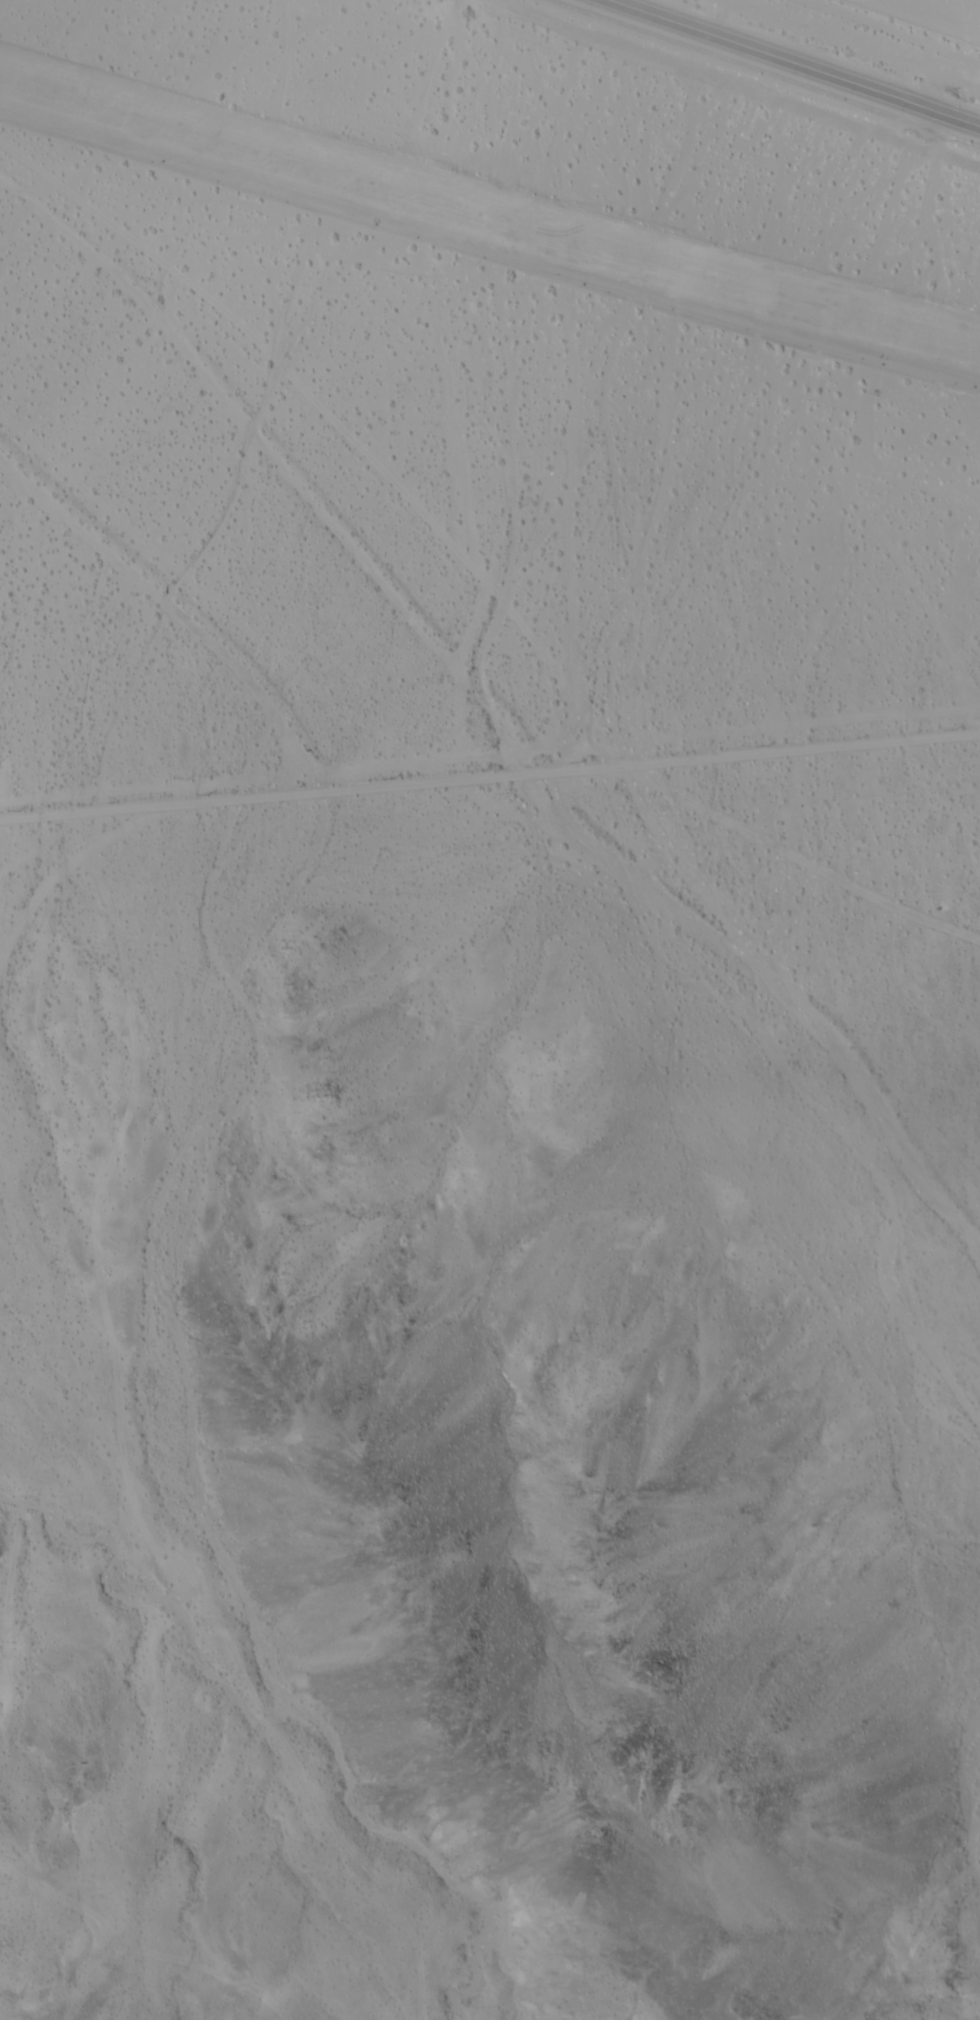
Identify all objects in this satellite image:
road: (789, 63)
road: (730, 83)
airport apron: (489, 210)
airport: (519, 389)
airport apron: (971, 501)
road: (490, 777)

